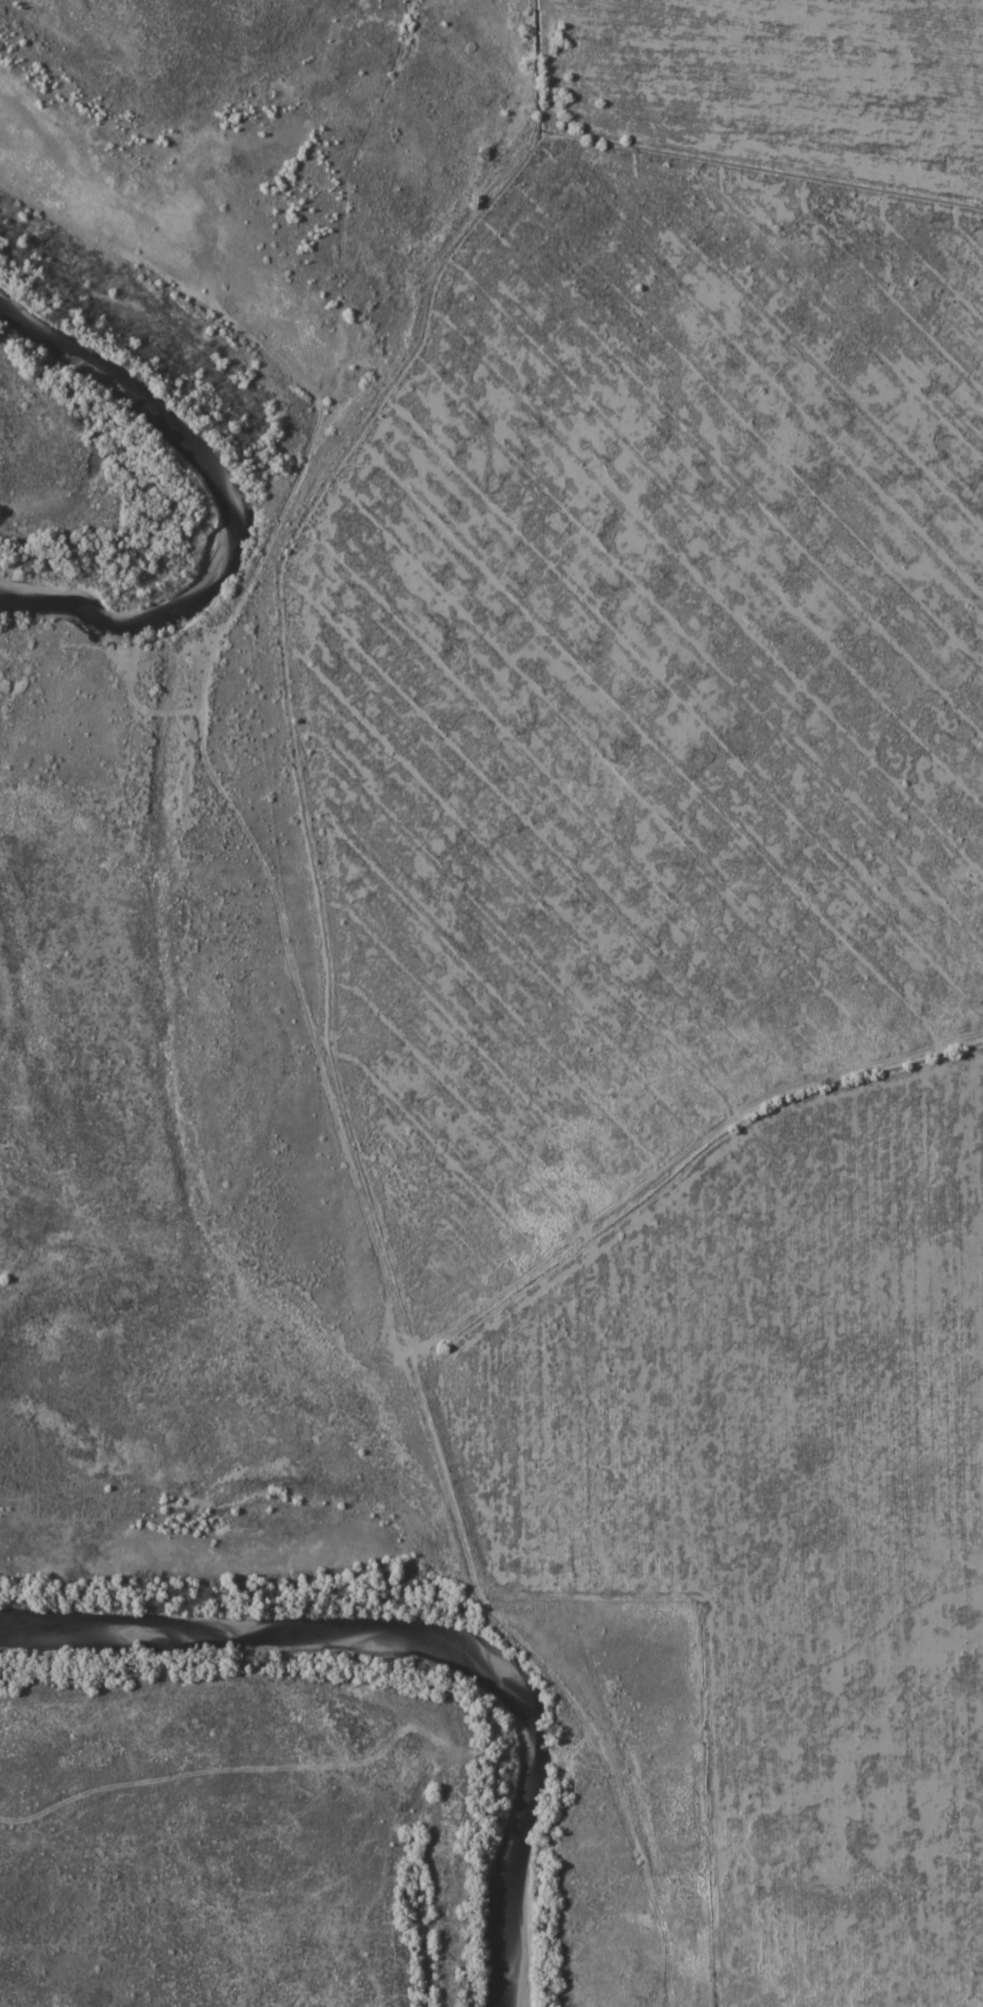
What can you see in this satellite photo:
river: (224, 500)
river: (429, 1641)

